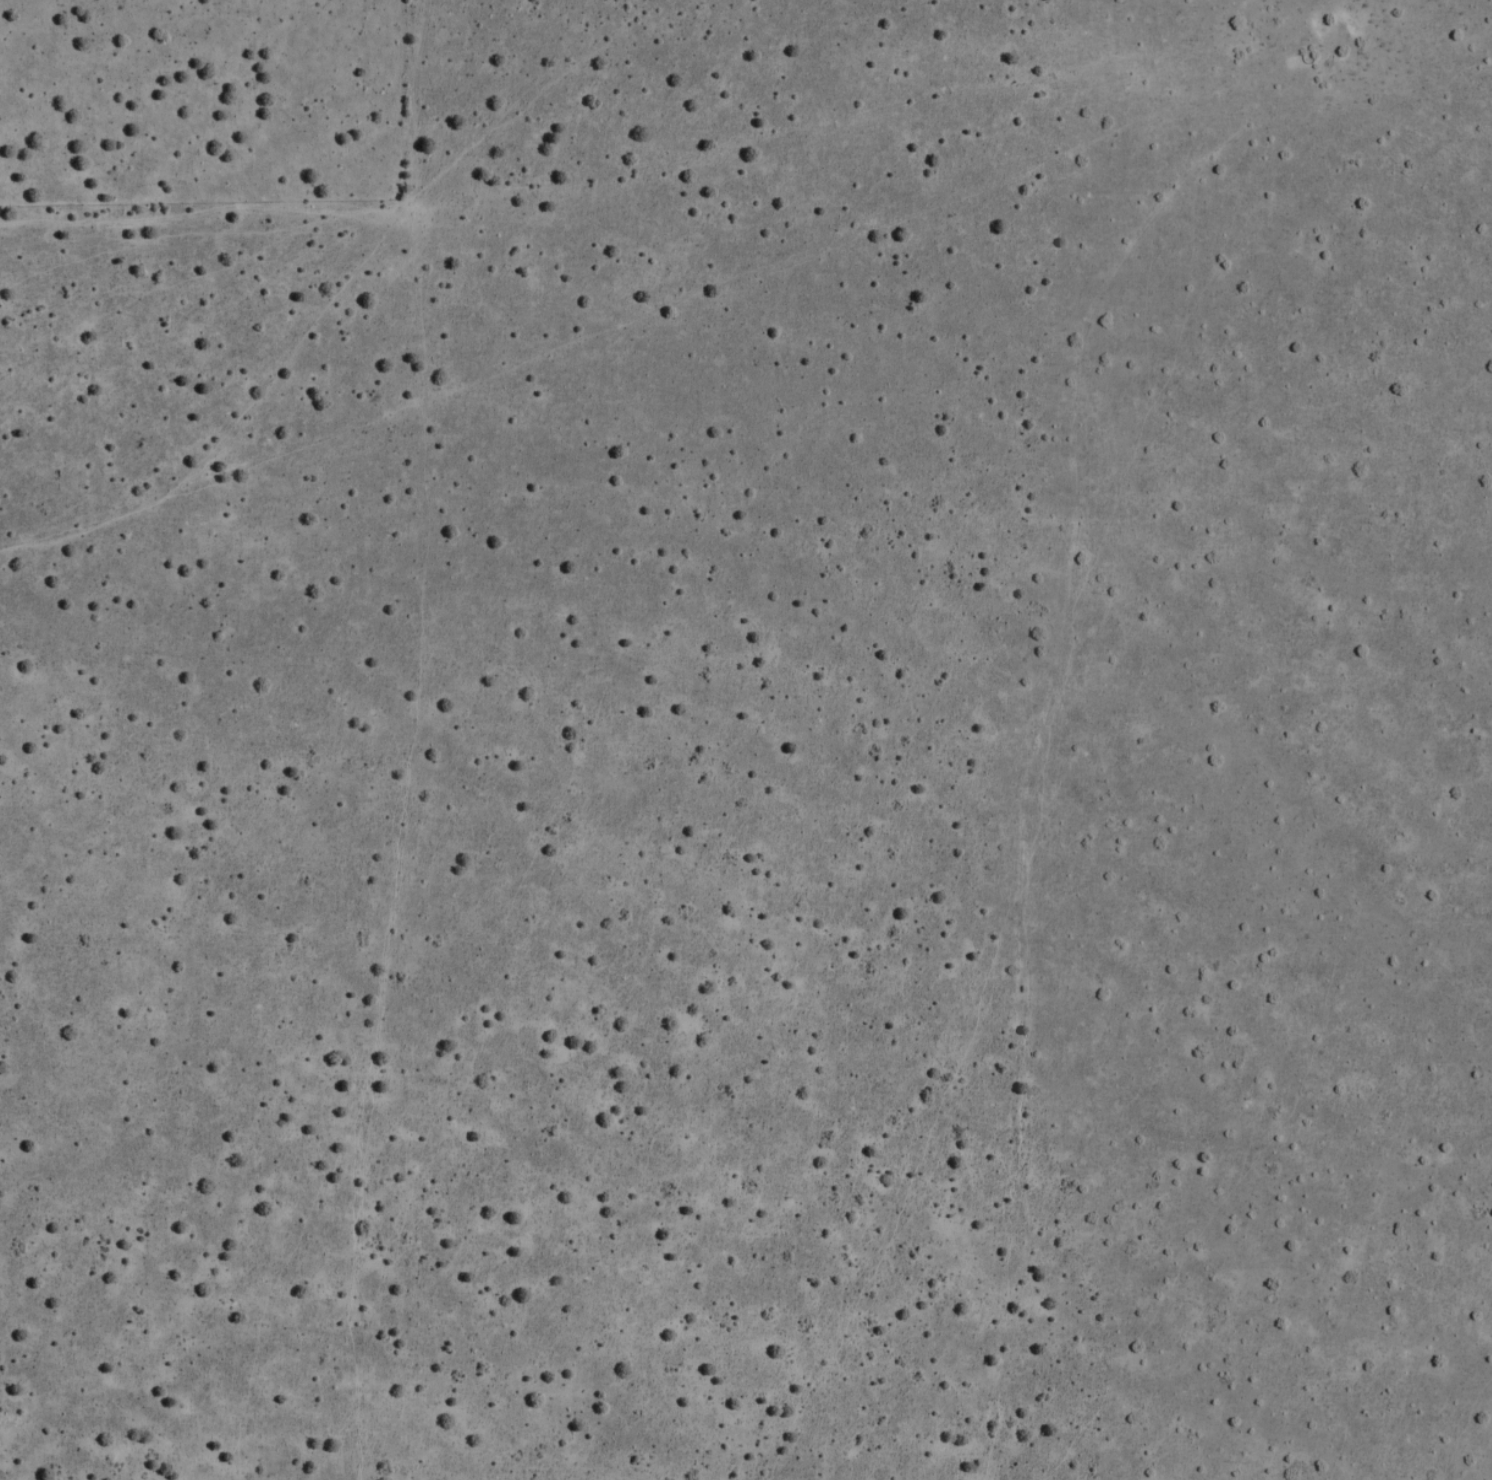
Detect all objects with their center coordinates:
road: (1015, 816)

